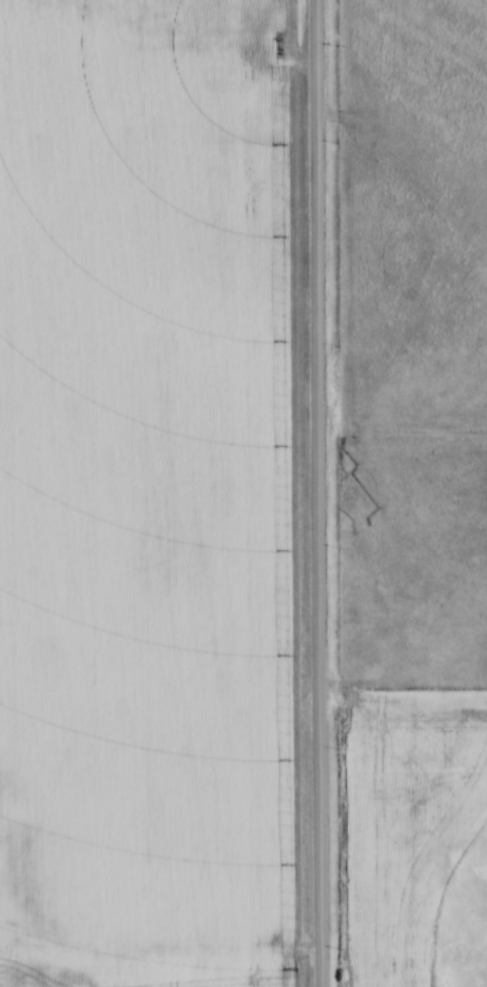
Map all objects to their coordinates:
road: (312, 493)
road: (155, 955)

